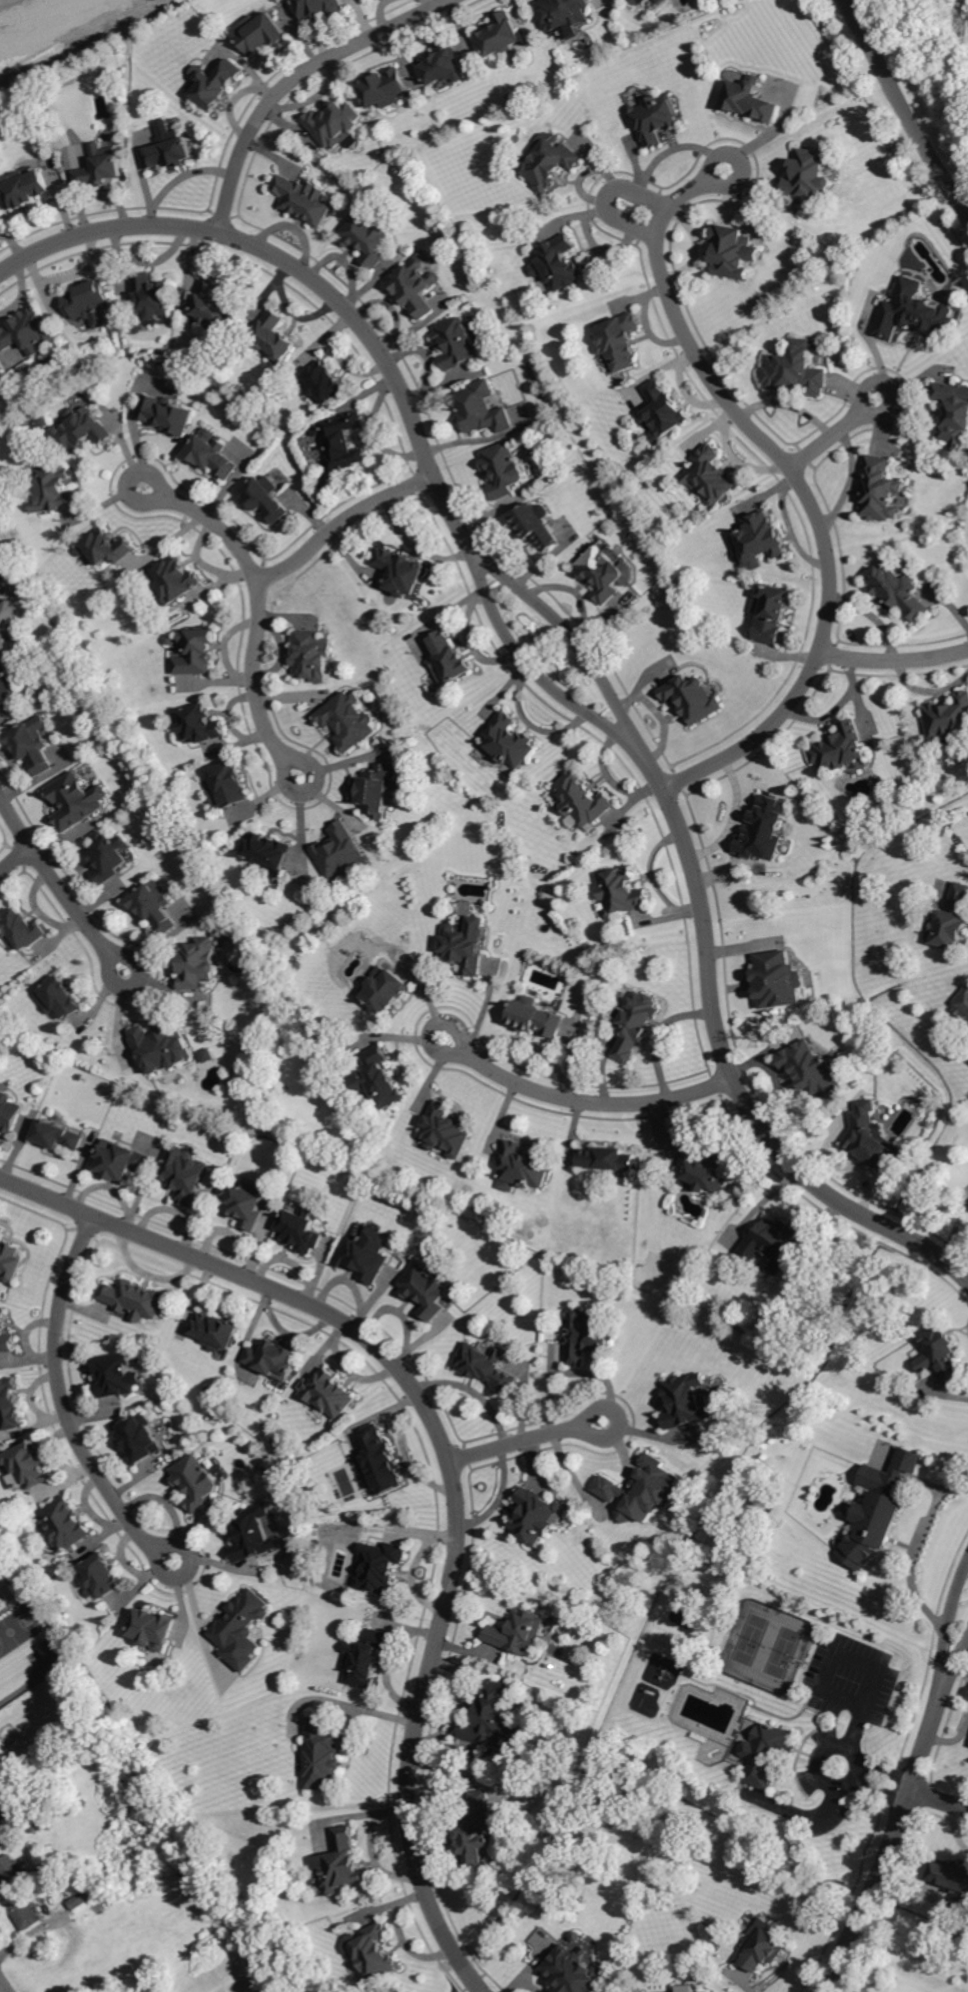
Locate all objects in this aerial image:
building: (624, 0)
building: (641, 2)
building: (319, 8)
building: (563, 13)
building: (259, 33)
building: (501, 35)
building: (444, 65)
road: (297, 77)
building: (109, 78)
building: (214, 84)
building: (383, 88)
building: (750, 100)
road: (904, 107)
building: (656, 116)
building: (334, 124)
building: (168, 152)
building: (549, 162)
building: (101, 166)
building: (811, 174)
building: (23, 188)
road: (607, 194)
building: (302, 200)
building: (0, 213)
building: (367, 237)
building: (733, 252)
building: (559, 263)
building: (416, 287)
building: (150, 296)
building: (86, 300)
building: (214, 309)
building: (917, 313)
building: (474, 321)
building: (135, 327)
building: (27, 332)
building: (273, 337)
building: (618, 341)
building: (459, 343)
building: (797, 372)
building: (1, 374)
building: (322, 383)
building: (480, 409)
building: (664, 411)
building: (953, 412)
building: (164, 415)
building: (38, 423)
building: (81, 430)
road: (842, 436)
building: (343, 442)
building: (211, 456)
building: (502, 470)
building: (710, 476)
road: (812, 481)
building: (54, 490)
building: (880, 490)
building: (265, 499)
road: (344, 524)
building: (537, 525)
building: (762, 541)
building: (106, 548)
building: (0, 554)
building: (400, 571)
building: (605, 573)
building: (5, 574)
building: (175, 580)
building: (899, 591)
building: (771, 613)
road: (255, 614)
building: (6, 624)
building: (169, 640)
building: (195, 652)
road: (554, 652)
building: (310, 656)
building: (448, 660)
road: (897, 664)
building: (7, 687)
building: (692, 699)
building: (948, 718)
building: (348, 721)
building: (199, 724)
building: (509, 742)
building: (33, 744)
building: (840, 748)
building: (229, 783)
building: (376, 789)
building: (582, 800)
building: (73, 802)
road: (733, 815)
building: (766, 831)
building: (268, 850)
building: (338, 850)
building: (108, 857)
road: (17, 867)
road: (56, 883)
building: (622, 892)
building: (154, 907)
building: (953, 921)
building: (22, 931)
building: (463, 949)
building: (197, 963)
building: (779, 980)
building: (385, 990)
building: (60, 999)
building: (963, 1007)
building: (535, 1018)
building: (634, 1024)
road: (658, 1029)
building: (161, 1048)
building: (206, 1056)
building: (810, 1070)
building: (378, 1079)
road: (587, 1096)
building: (10, 1114)
building: (445, 1131)
building: (58, 1136)
building: (874, 1141)
building: (608, 1159)
building: (122, 1160)
building: (524, 1166)
building: (701, 1170)
building: (186, 1176)
building: (244, 1204)
building: (301, 1230)
building: (1, 1234)
building: (771, 1244)
building: (366, 1254)
building: (11, 1261)
building: (426, 1290)
building: (134, 1300)
building: (215, 1332)
building: (6, 1336)
building: (588, 1337)
building: (942, 1351)
building: (273, 1360)
building: (486, 1367)
building: (115, 1376)
building: (327, 1394)
road: (71, 1402)
building: (685, 1403)
building: (10, 1404)
road: (531, 1437)
building: (139, 1439)
road: (456, 1455)
building: (382, 1461)
building: (29, 1466)
building: (194, 1484)
building: (644, 1491)
building: (881, 1508)
building: (535, 1516)
building: (65, 1525)
building: (250, 1535)
road: (903, 1559)
building: (380, 1566)
building: (101, 1576)
building: (6, 1590)
building: (152, 1628)
building: (240, 1630)
building: (518, 1633)
building: (365, 1658)
building: (492, 1717)
building: (766, 1754)
building: (323, 1755)
road: (849, 1770)
road: (940, 1800)
road: (906, 1804)
building: (42, 1807)
building: (23, 1816)
building: (41, 1826)
building: (477, 1830)
building: (339, 1861)
building: (10, 1865)
building: (951, 1876)
building: (80, 1900)
building: (25, 1912)
building: (579, 1936)
building: (766, 1947)
building: (373, 1952)
building: (577, 1972)
road: (6, 1982)

